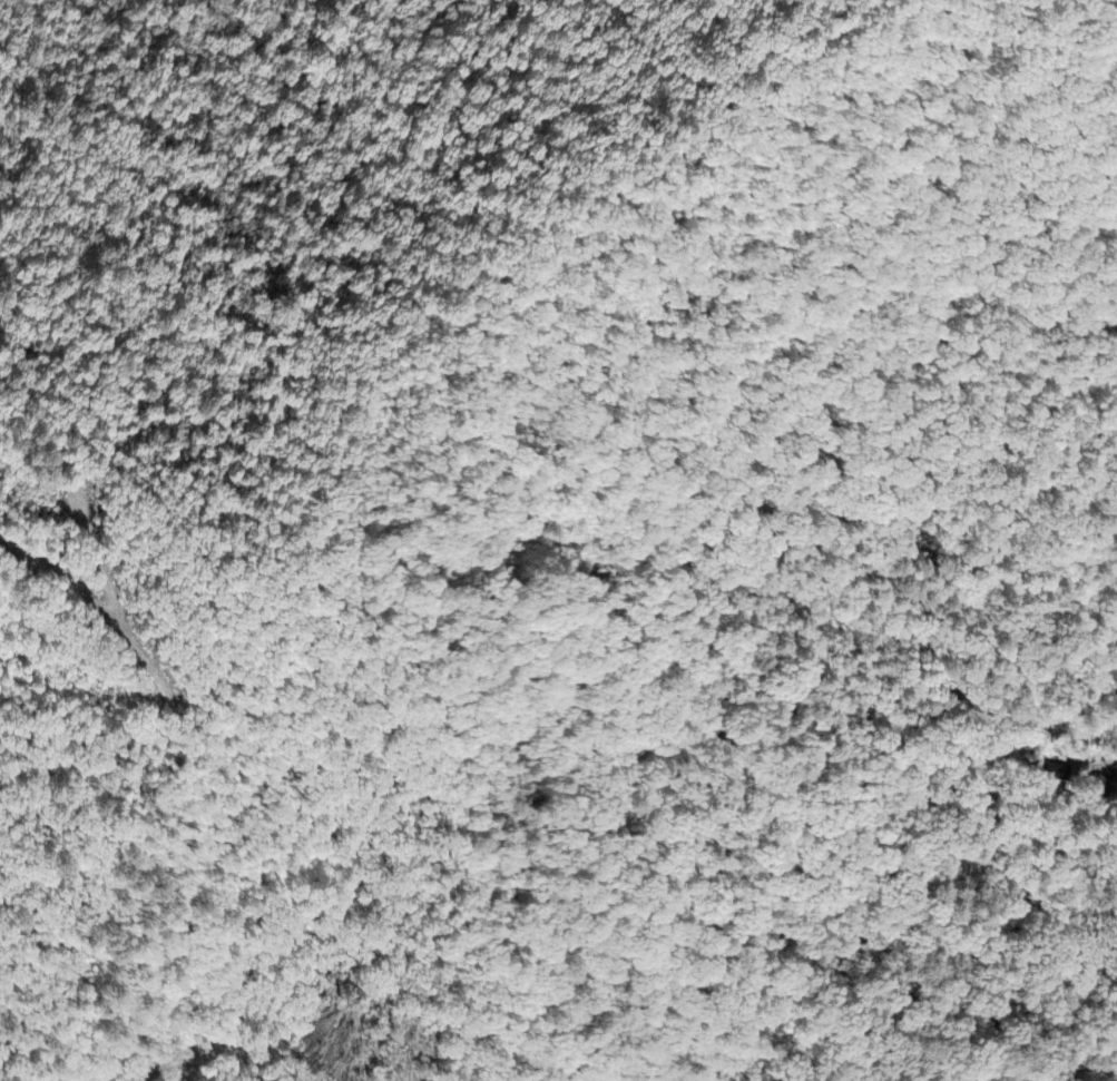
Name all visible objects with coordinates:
building: (1116, 772)
building: (1055, 776)

